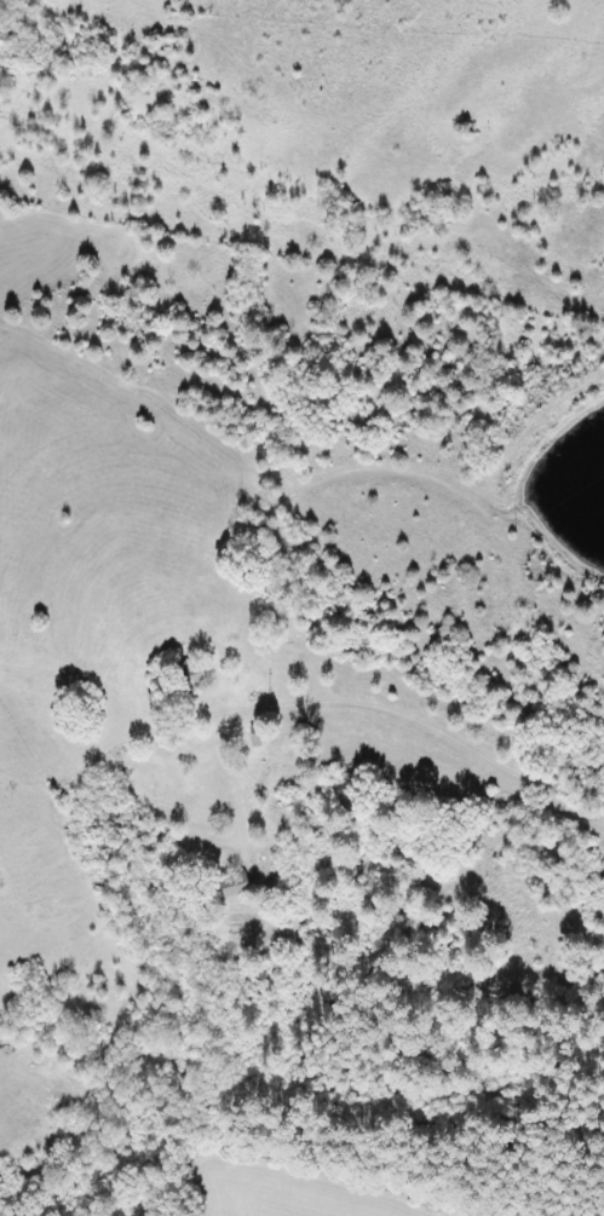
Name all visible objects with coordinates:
building: (191, 675)
building: (232, 884)

